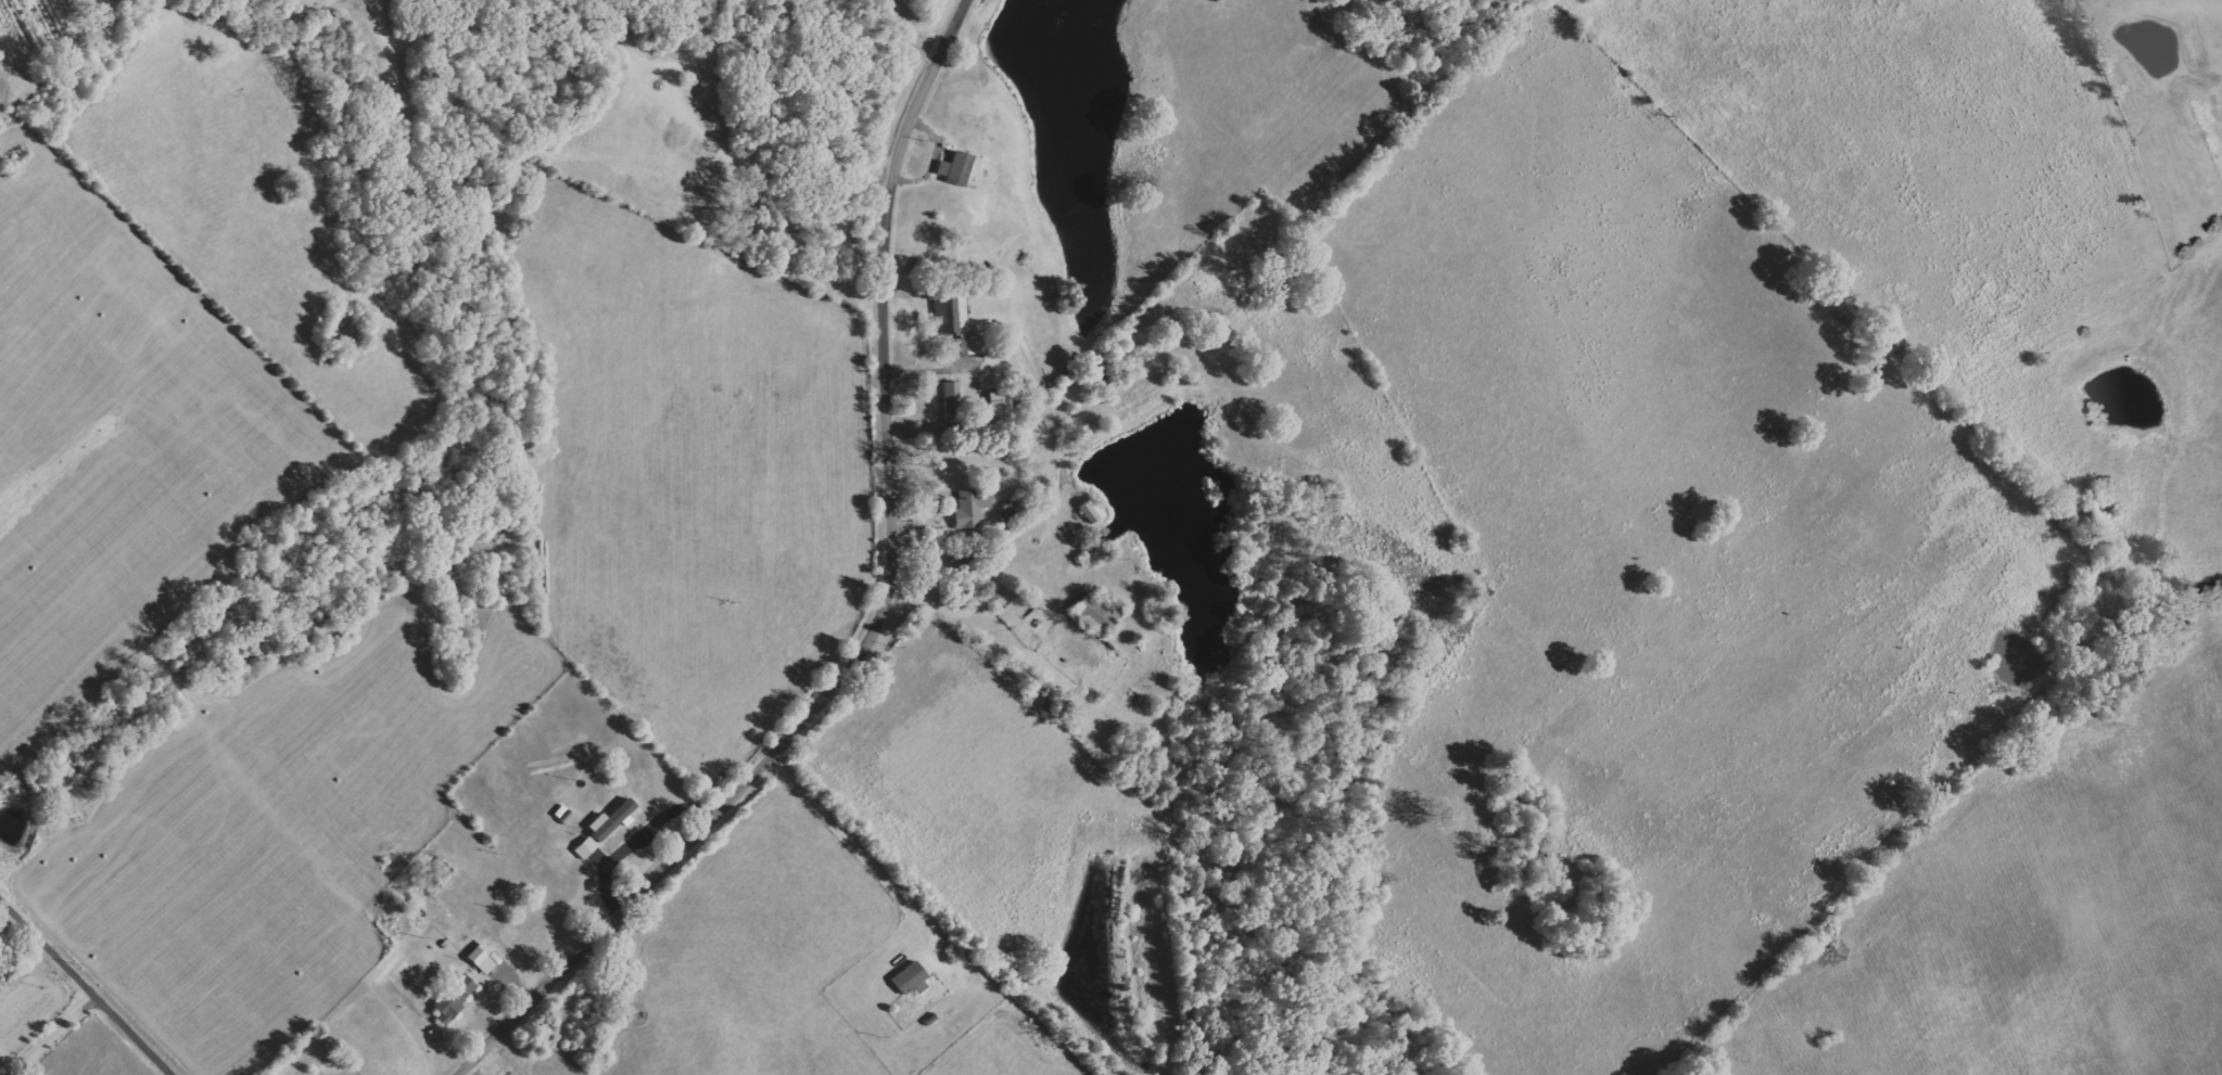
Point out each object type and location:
road: (919, 26)
building: (957, 169)
building: (956, 322)
building: (1001, 404)
building: (953, 406)
building: (972, 509)
road: (890, 613)
building: (1096, 614)
building: (611, 820)
road: (635, 842)
road: (852, 844)
building: (586, 847)
building: (483, 958)
building: (911, 976)
building: (456, 995)
road: (74, 996)
road: (40, 1038)
road: (497, 1065)

